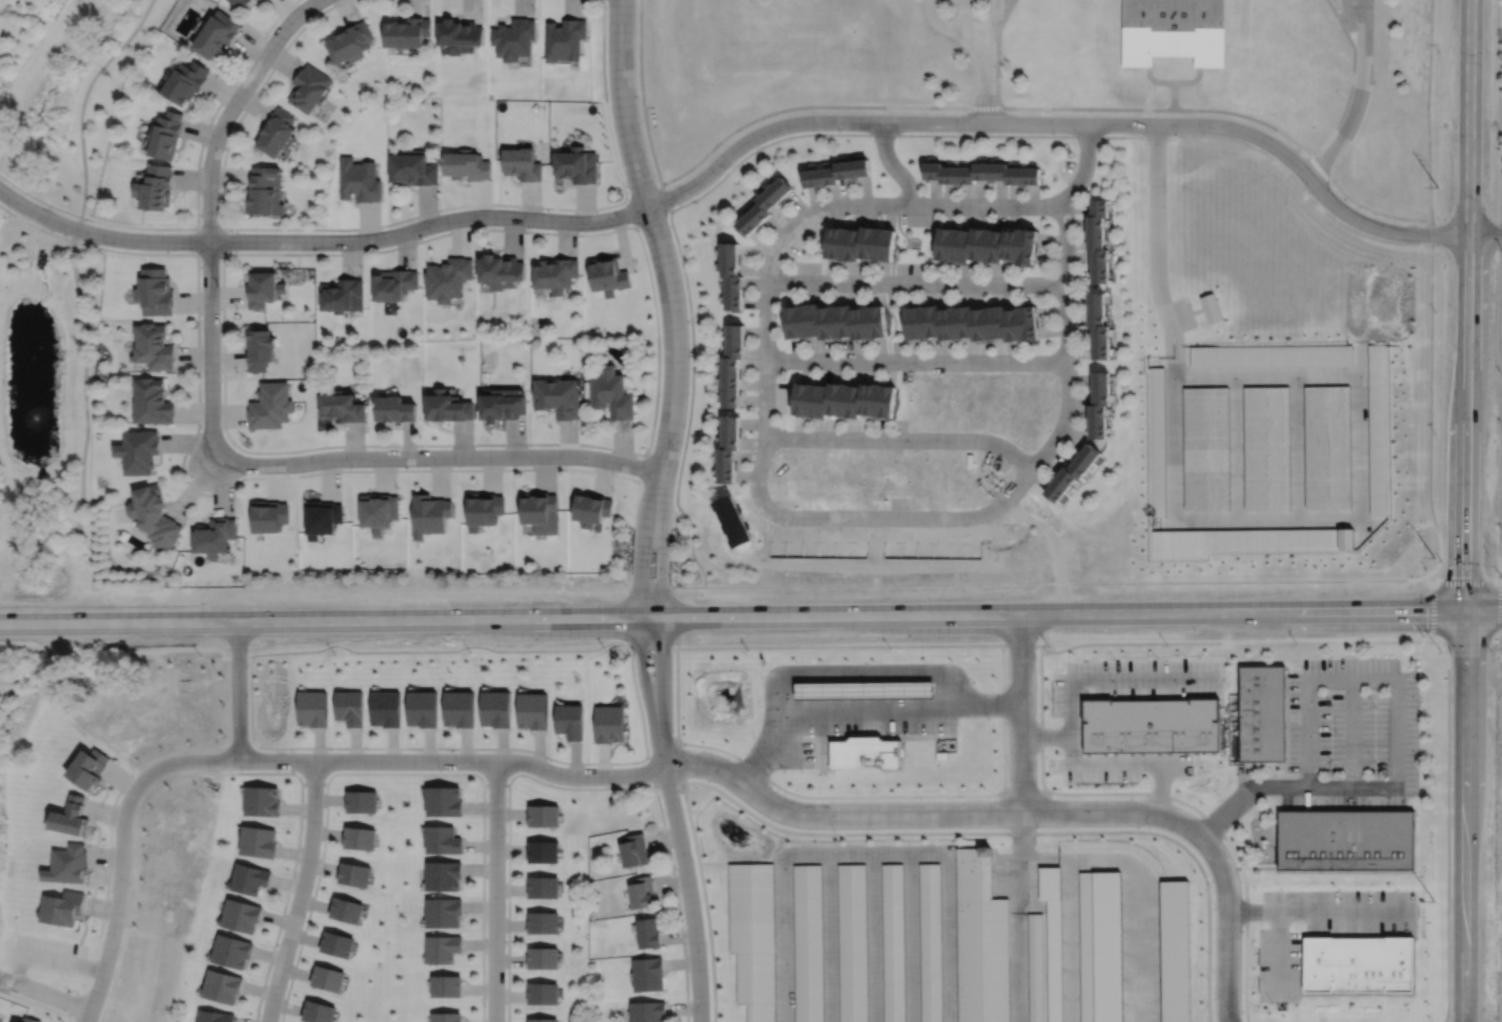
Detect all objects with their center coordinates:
building: (260, 0)
road: (314, 2)
parking lot: (966, 2)
building: (239, 3)
road: (966, 4)
road: (1008, 4)
road: (1011, 4)
street lamp: (605, 6)
road: (1336, 14)
road: (1345, 14)
road: (991, 28)
building: (405, 31)
building: (1172, 31)
road: (952, 33)
building: (459, 35)
road: (971, 35)
building: (216, 37)
street lamp: (266, 38)
building: (513, 38)
building: (565, 39)
building: (349, 42)
road: (998, 56)
street lamp: (1001, 76)
road: (1155, 82)
road: (1191, 82)
building: (185, 83)
building: (308, 88)
road: (985, 90)
road: (1174, 96)
road: (1360, 97)
road: (1348, 98)
street lamp: (608, 101)
road: (84, 103)
road: (1088, 108)
road: (1428, 110)
road: (1247, 116)
street lamp: (212, 123)
road: (1063, 123)
street lamp: (840, 131)
building: (275, 132)
road: (731, 132)
street lamp: (960, 132)
street lamp: (1055, 133)
road: (910, 134)
street lamp: (1203, 134)
building: (165, 137)
building: (521, 164)
building: (466, 165)
building: (576, 165)
road: (892, 165)
street lamp: (729, 167)
building: (412, 168)
building: (837, 173)
building: (982, 173)
building: (358, 180)
building: (154, 188)
street lamp: (1145, 189)
building: (263, 192)
street lamp: (1308, 192)
road: (664, 198)
road: (197, 203)
road: (892, 204)
road: (1360, 205)
building: (764, 206)
street lamp: (10, 209)
road: (631, 212)
road: (210, 219)
road: (388, 223)
road: (222, 228)
street lamp: (529, 228)
street lamp: (228, 231)
street lamp: (639, 231)
road: (656, 234)
road: (1485, 234)
street lamp: (420, 238)
building: (1098, 240)
road: (321, 241)
building: (860, 243)
street lamp: (1420, 244)
building: (986, 245)
street lamp: (107, 246)
street lamp: (315, 251)
street lamp: (1146, 264)
building: (500, 272)
building: (555, 275)
building: (608, 276)
building: (730, 277)
building: (446, 280)
road: (917, 283)
building: (393, 285)
road: (1499, 286)
building: (261, 290)
park: (55, 291)
building: (154, 293)
building: (341, 297)
road: (1468, 305)
building: (1211, 306)
parking lot: (1182, 313)
street lamp: (200, 316)
building: (833, 323)
building: (971, 325)
building: (1099, 325)
street lamp: (660, 335)
road: (1067, 342)
building: (152, 348)
building: (257, 351)
building: (1272, 355)
road: (916, 362)
building: (731, 368)
road: (85, 377)
building: (612, 395)
road: (765, 397)
building: (845, 398)
road: (1429, 398)
building: (558, 399)
building: (151, 400)
road: (690, 402)
building: (966, 403)
building: (1101, 404)
building: (269, 407)
building: (502, 407)
building: (340, 409)
building: (446, 409)
building: (393, 410)
street lamp: (201, 427)
building: (1378, 429)
road: (902, 439)
road: (650, 441)
building: (1156, 442)
building: (1327, 446)
building: (1266, 447)
road: (1296, 447)
building: (1205, 448)
road: (1233, 448)
building: (137, 449)
building: (727, 450)
road: (437, 457)
street lamp: (566, 465)
street lamp: (459, 466)
street lamp: (351, 468)
building: (1072, 473)
street lamp: (244, 475)
building: (829, 479)
building: (945, 481)
street lamp: (640, 487)
road: (208, 494)
building: (484, 508)
building: (539, 508)
building: (593, 508)
building: (379, 510)
building: (430, 513)
building: (153, 514)
building: (268, 515)
building: (322, 517)
road: (861, 517)
road: (1232, 520)
building: (213, 535)
building: (1245, 541)
road: (642, 542)
road: (662, 544)
road: (74, 550)
road: (1501, 573)
street lamp: (629, 576)
street lamp: (669, 576)
road: (1048, 583)
road: (1466, 585)
traffic signals: (1466, 612)
road: (1484, 612)
road: (1063, 613)
road: (331, 622)
road: (972, 644)
road: (630, 655)
road: (1115, 676)
road: (1351, 677)
building: (864, 690)
road: (239, 691)
road: (663, 692)
road: (646, 693)
building: (351, 707)
building: (313, 708)
building: (386, 708)
building: (459, 708)
building: (423, 709)
building: (496, 709)
road: (863, 709)
building: (533, 711)
road: (1022, 713)
building: (1260, 713)
building: (569, 721)
building: (609, 723)
building: (1152, 725)
parking lot: (1342, 726)
parking lot: (867, 729)
road: (1351, 731)
road: (1046, 736)
building: (1233, 749)
building: (865, 753)
gas station: (865, 753)
road: (453, 760)
road: (1113, 764)
building: (88, 768)
road: (1288, 784)
road: (577, 788)
road: (1159, 789)
building: (262, 801)
building: (362, 801)
building: (444, 801)
road: (742, 807)
road: (1114, 812)
building: (544, 815)
road: (835, 815)
road: (1464, 816)
building: (71, 817)
crop: (1489, 825)
street lamp: (1038, 827)
building: (359, 838)
building: (443, 840)
building: (1345, 841)
building: (258, 842)
road: (122, 849)
building: (634, 850)
building: (544, 852)
road: (864, 852)
building: (68, 864)
building: (355, 874)
building: (444, 875)
building: (250, 879)
building: (543, 887)
road: (495, 891)
road: (301, 892)
building: (642, 892)
road: (689, 893)
building: (61, 907)
road: (1318, 909)
building: (346, 910)
building: (443, 912)
building: (241, 915)
road: (1018, 917)
building: (543, 923)
road: (1227, 925)
building: (648, 933)
building: (754, 938)
building: (1052, 940)
building: (982, 941)
building: (853, 943)
building: (894, 943)
building: (930, 943)
building: (337, 944)
building: (808, 944)
building: (1100, 947)
building: (442, 948)
building: (232, 951)
building: (1175, 951)
building: (544, 958)
building: (1361, 966)
building: (1036, 968)
building: (648, 975)
building: (328, 978)
building: (223, 986)
building: (447, 987)
building: (543, 993)
building: (647, 1011)
building: (318, 1012)
building: (215, 1016)
building: (447, 1017)
building: (543, 1020)

